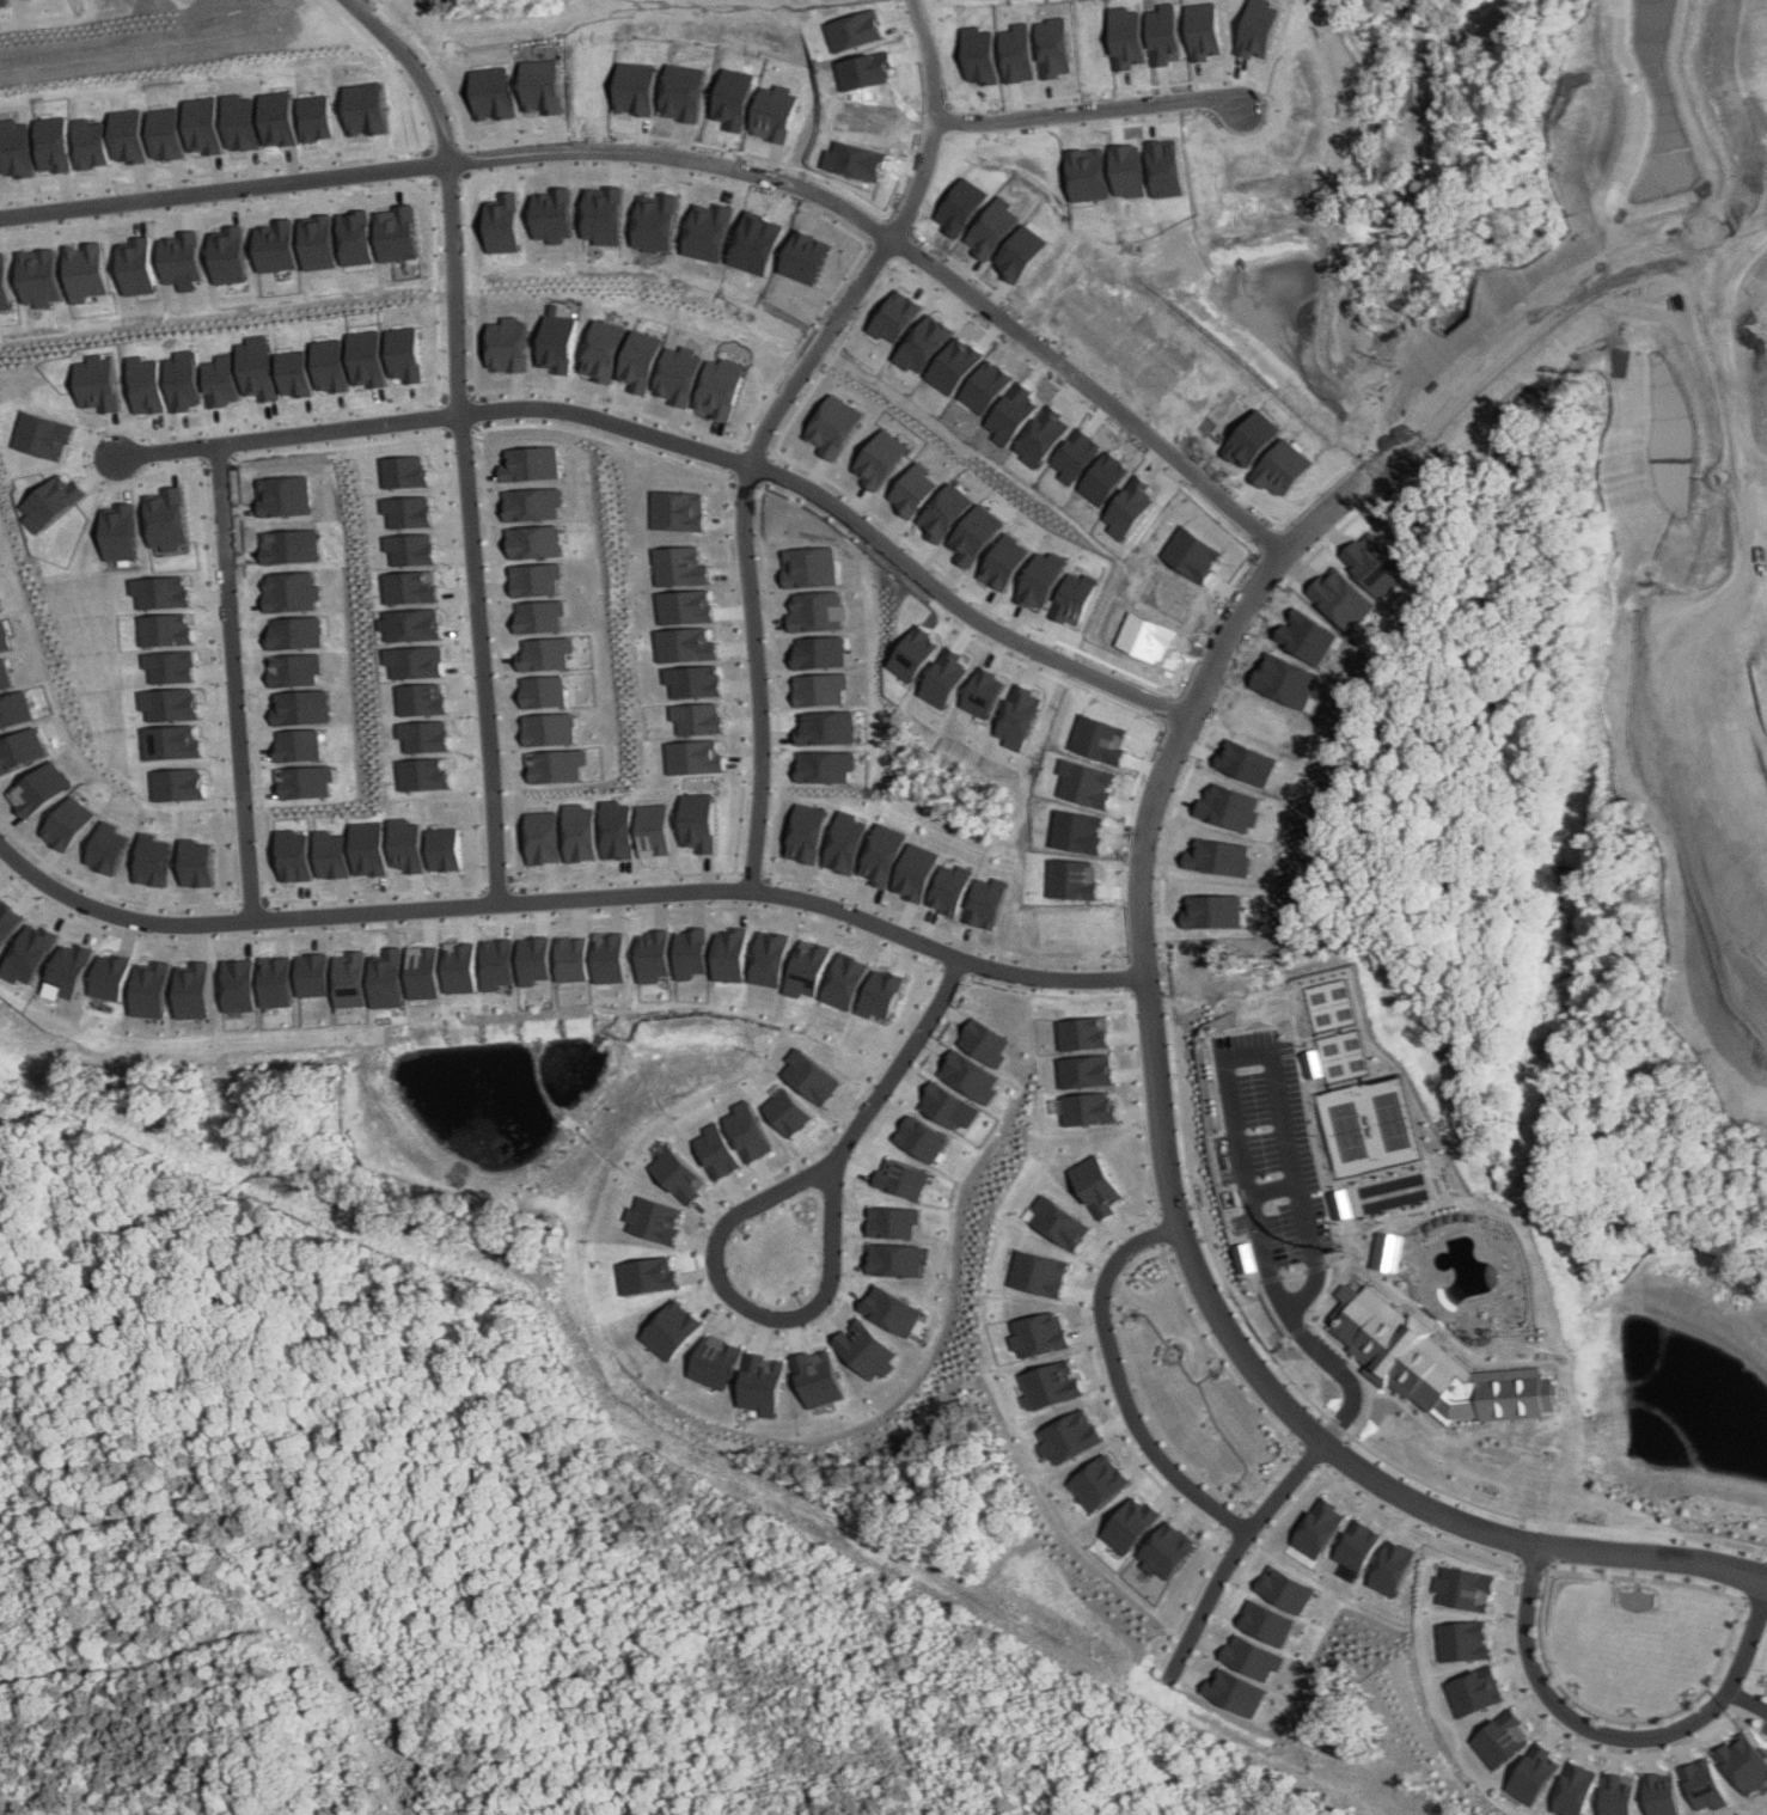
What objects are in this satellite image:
building: (540, 85)
building: (491, 93)
building: (365, 108)
road: (1098, 112)
building: (314, 117)
building: (277, 118)
road: (941, 121)
building: (239, 122)
building: (202, 124)
building: (166, 133)
building: (128, 135)
building: (91, 142)
building: (55, 143)
building: (18, 147)
road: (704, 161)
road: (448, 190)
building: (552, 214)
building: (603, 214)
building: (655, 222)
building: (502, 224)
building: (708, 231)
building: (397, 233)
building: (355, 239)
building: (318, 243)
building: (276, 246)
building: (230, 255)
building: (183, 259)
building: (140, 268)
building: (86, 270)
building: (41, 276)
building: (5, 285)
building: (558, 342)
building: (509, 344)
road: (821, 349)
building: (605, 350)
building: (408, 354)
building: (371, 357)
building: (642, 360)
building: (334, 365)
building: (259, 367)
building: (298, 373)
building: (681, 374)
building: (185, 380)
building: (224, 380)
building: (99, 383)
building: (147, 384)
building: (723, 387)
building: (836, 426)
building: (44, 436)
road: (686, 444)
building: (881, 458)
building: (533, 463)
building: (405, 471)
road: (1757, 476)
building: (912, 490)
building: (53, 502)
building: (532, 503)
road: (1333, 506)
building: (408, 511)
building: (681, 511)
building: (167, 518)
building: (120, 531)
building: (533, 540)
building: (288, 545)
building: (410, 549)
building: (680, 566)
building: (807, 567)
building: (533, 579)
building: (410, 587)
building: (291, 591)
building: (160, 592)
building: (683, 606)
building: (813, 611)
building: (537, 616)
building: (412, 625)
building: (166, 629)
building: (294, 632)
building: (2, 637)
building: (681, 644)
building: (814, 652)
building: (540, 654)
road: (478, 659)
building: (170, 666)
building: (293, 668)
building: (4, 674)
road: (754, 678)
building: (689, 680)
road: (231, 684)
building: (817, 689)
road: (1762, 690)
building: (538, 691)
building: (420, 698)
building: (169, 704)
building: (301, 707)
building: (13, 708)
building: (692, 717)
building: (823, 727)
building: (542, 728)
building: (423, 735)
building: (171, 741)
building: (298, 745)
building: (19, 748)
building: (689, 756)
building: (549, 765)
building: (821, 765)
building: (423, 774)
building: (304, 781)
building: (177, 783)
building: (38, 788)
building: (695, 821)
building: (68, 823)
building: (612, 829)
building: (650, 830)
building: (575, 832)
building: (806, 832)
building: (538, 836)
building: (845, 842)
building: (404, 844)
building: (106, 848)
building: (367, 848)
building: (441, 848)
building: (882, 854)
building: (292, 855)
building: (329, 855)
building: (151, 861)
building: (194, 862)
building: (917, 872)
building: (950, 887)
road: (570, 899)
building: (988, 902)
building: (1215, 911)
building: (8, 919)
building: (691, 953)
building: (30, 954)
building: (730, 954)
building: (653, 955)
building: (609, 958)
building: (771, 958)
building: (533, 959)
building: (571, 959)
building: (496, 964)
building: (460, 966)
building: (809, 968)
building: (68, 970)
building: (422, 973)
building: (311, 974)
building: (109, 977)
building: (349, 979)
building: (386, 979)
building: (274, 982)
building: (846, 982)
building: (237, 985)
building: (149, 989)
building: (191, 990)
building: (881, 996)
building: (1083, 1033)
building: (984, 1041)
building: (1316, 1063)
building: (1086, 1070)
building: (814, 1076)
building: (970, 1076)
road: (1235, 1104)
building: (944, 1105)
building: (1089, 1108)
building: (793, 1112)
building: (753, 1131)
building: (922, 1138)
building: (722, 1150)
building: (683, 1174)
building: (905, 1179)
building: (1099, 1184)
road: (1276, 1190)
building: (1344, 1203)
road: (747, 1210)
building: (655, 1218)
building: (895, 1221)
building: (1062, 1222)
building: (1389, 1252)
building: (1248, 1258)
building: (897, 1259)
road: (1173, 1272)
building: (1043, 1273)
building: (649, 1275)
building: (891, 1309)
road: (1136, 1309)
road: (1127, 1315)
road: (1133, 1318)
road: (1154, 1325)
building: (673, 1328)
building: (1041, 1333)
building: (864, 1349)
road: (1181, 1353)
building: (716, 1361)
building: (1436, 1365)
road: (1218, 1368)
road: (1213, 1371)
road: (1118, 1375)
building: (815, 1377)
road: (1190, 1380)
building: (760, 1383)
building: (1050, 1385)
road: (1152, 1418)
road: (1312, 1420)
road: (1222, 1435)
building: (1068, 1436)
road: (1280, 1437)
building: (1096, 1481)
road: (1231, 1486)
road: (1229, 1491)
road: (1233, 1502)
road: (1239, 1512)
road: (1247, 1512)
building: (1127, 1524)
building: (1315, 1528)
building: (1355, 1544)
road: (1234, 1547)
building: (1163, 1550)
building: (1387, 1567)
road: (1766, 1576)
road: (1766, 1578)
building: (1460, 1588)
building: (1282, 1589)
building: (1262, 1622)
building: (1459, 1640)
building: (1249, 1657)
building: (1231, 1691)
building: (1471, 1691)
road: (1747, 1697)
road: (1616, 1736)
building: (1499, 1738)
building: (1742, 1762)
building: (1531, 1774)
building: (1701, 1784)
building: (1573, 1790)
building: (1659, 1793)
building: (1616, 1795)

